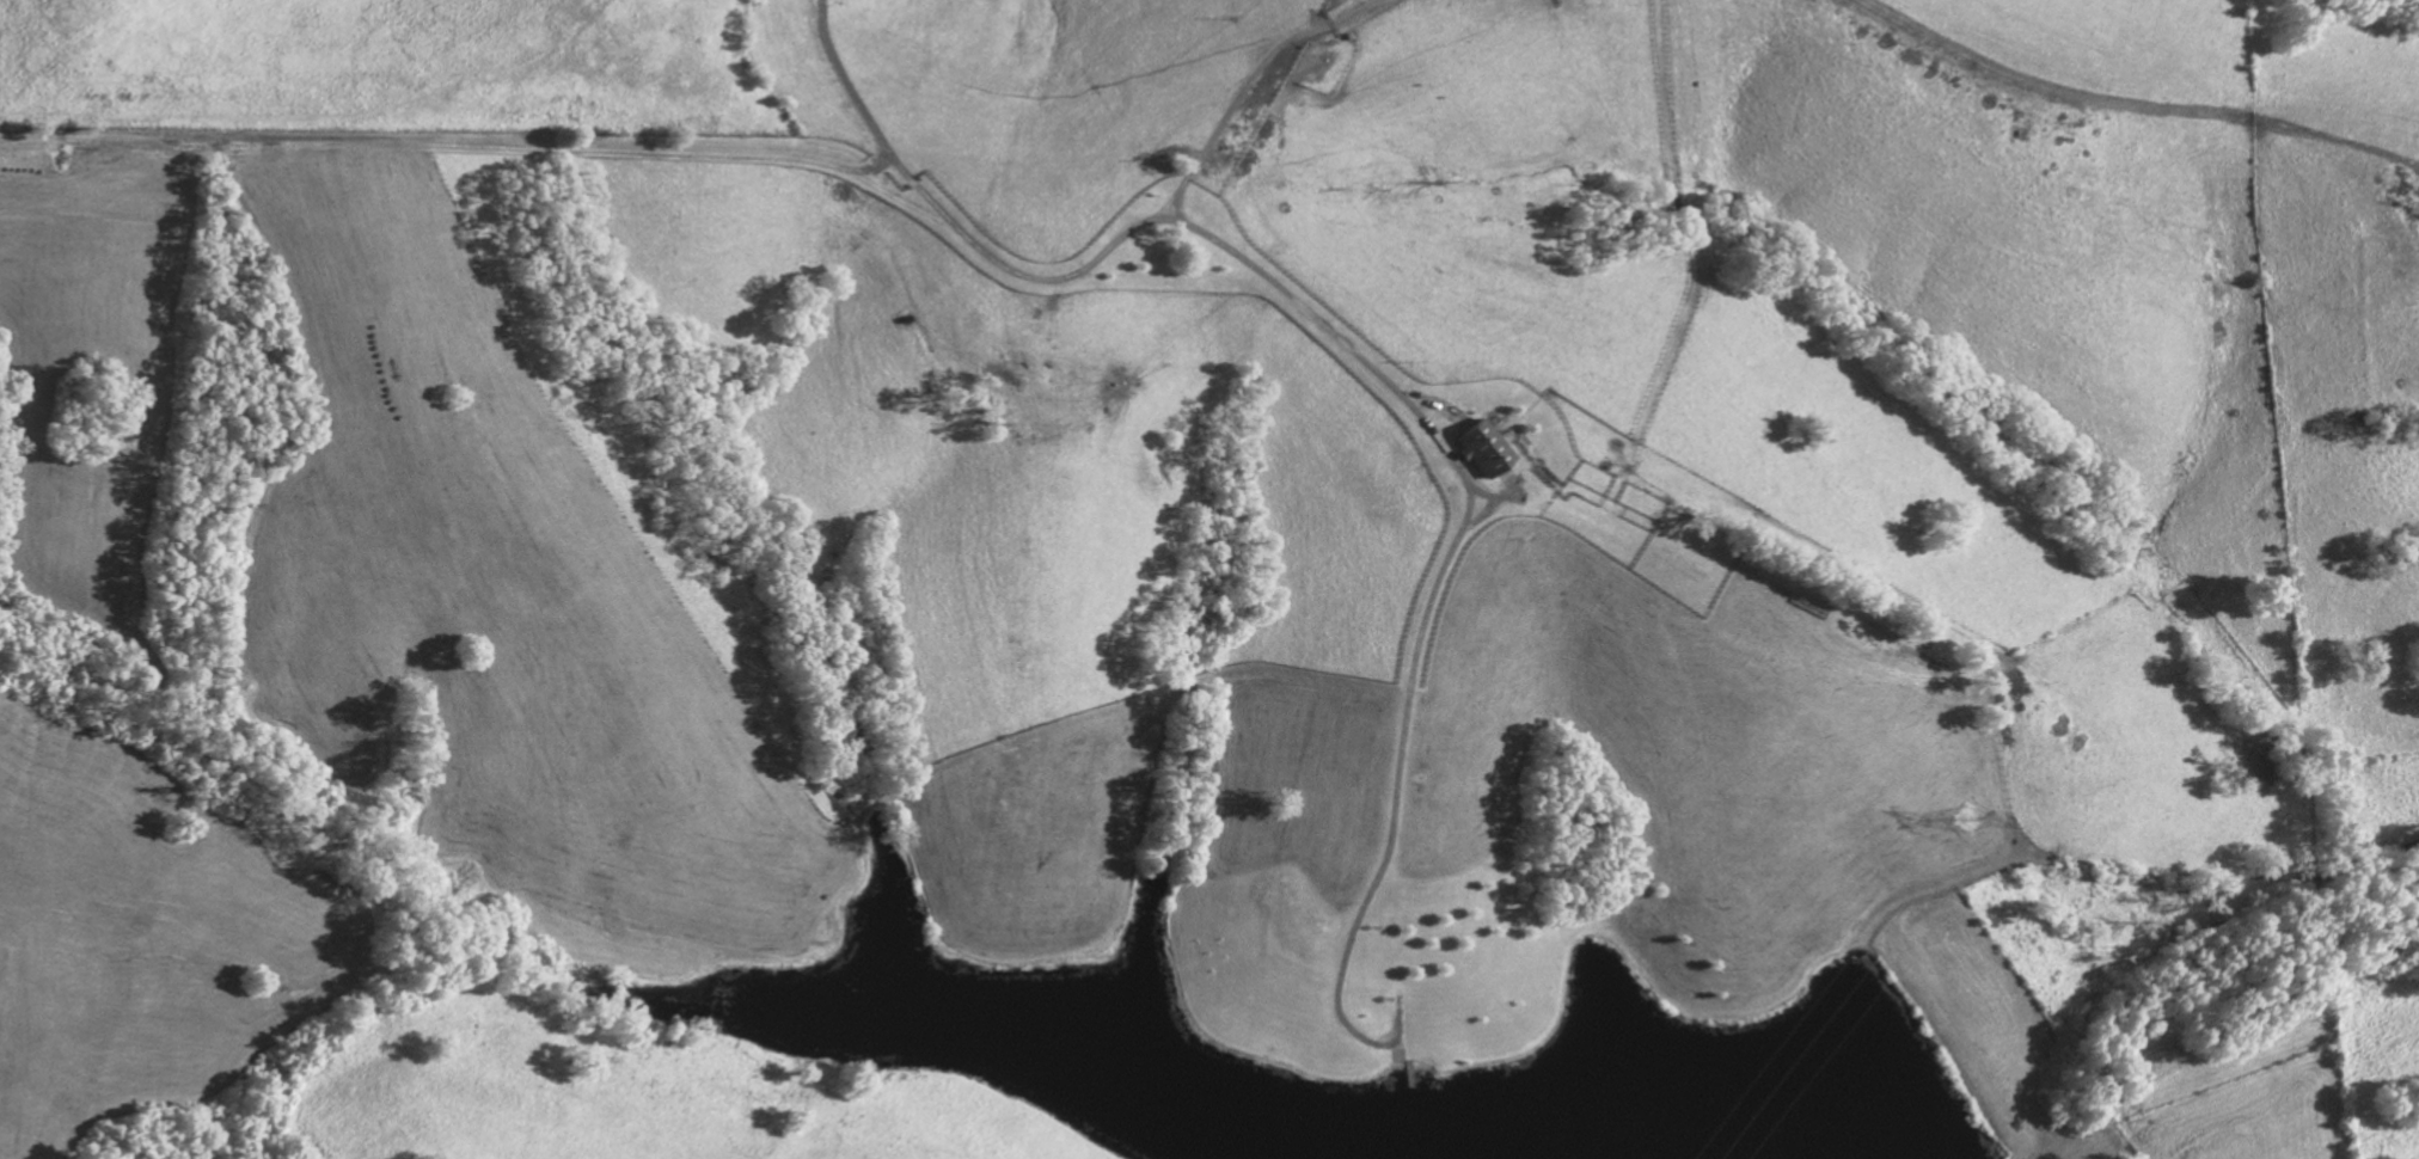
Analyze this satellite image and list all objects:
road: (834, 215)
building: (1486, 449)
power tower: (1965, 820)

